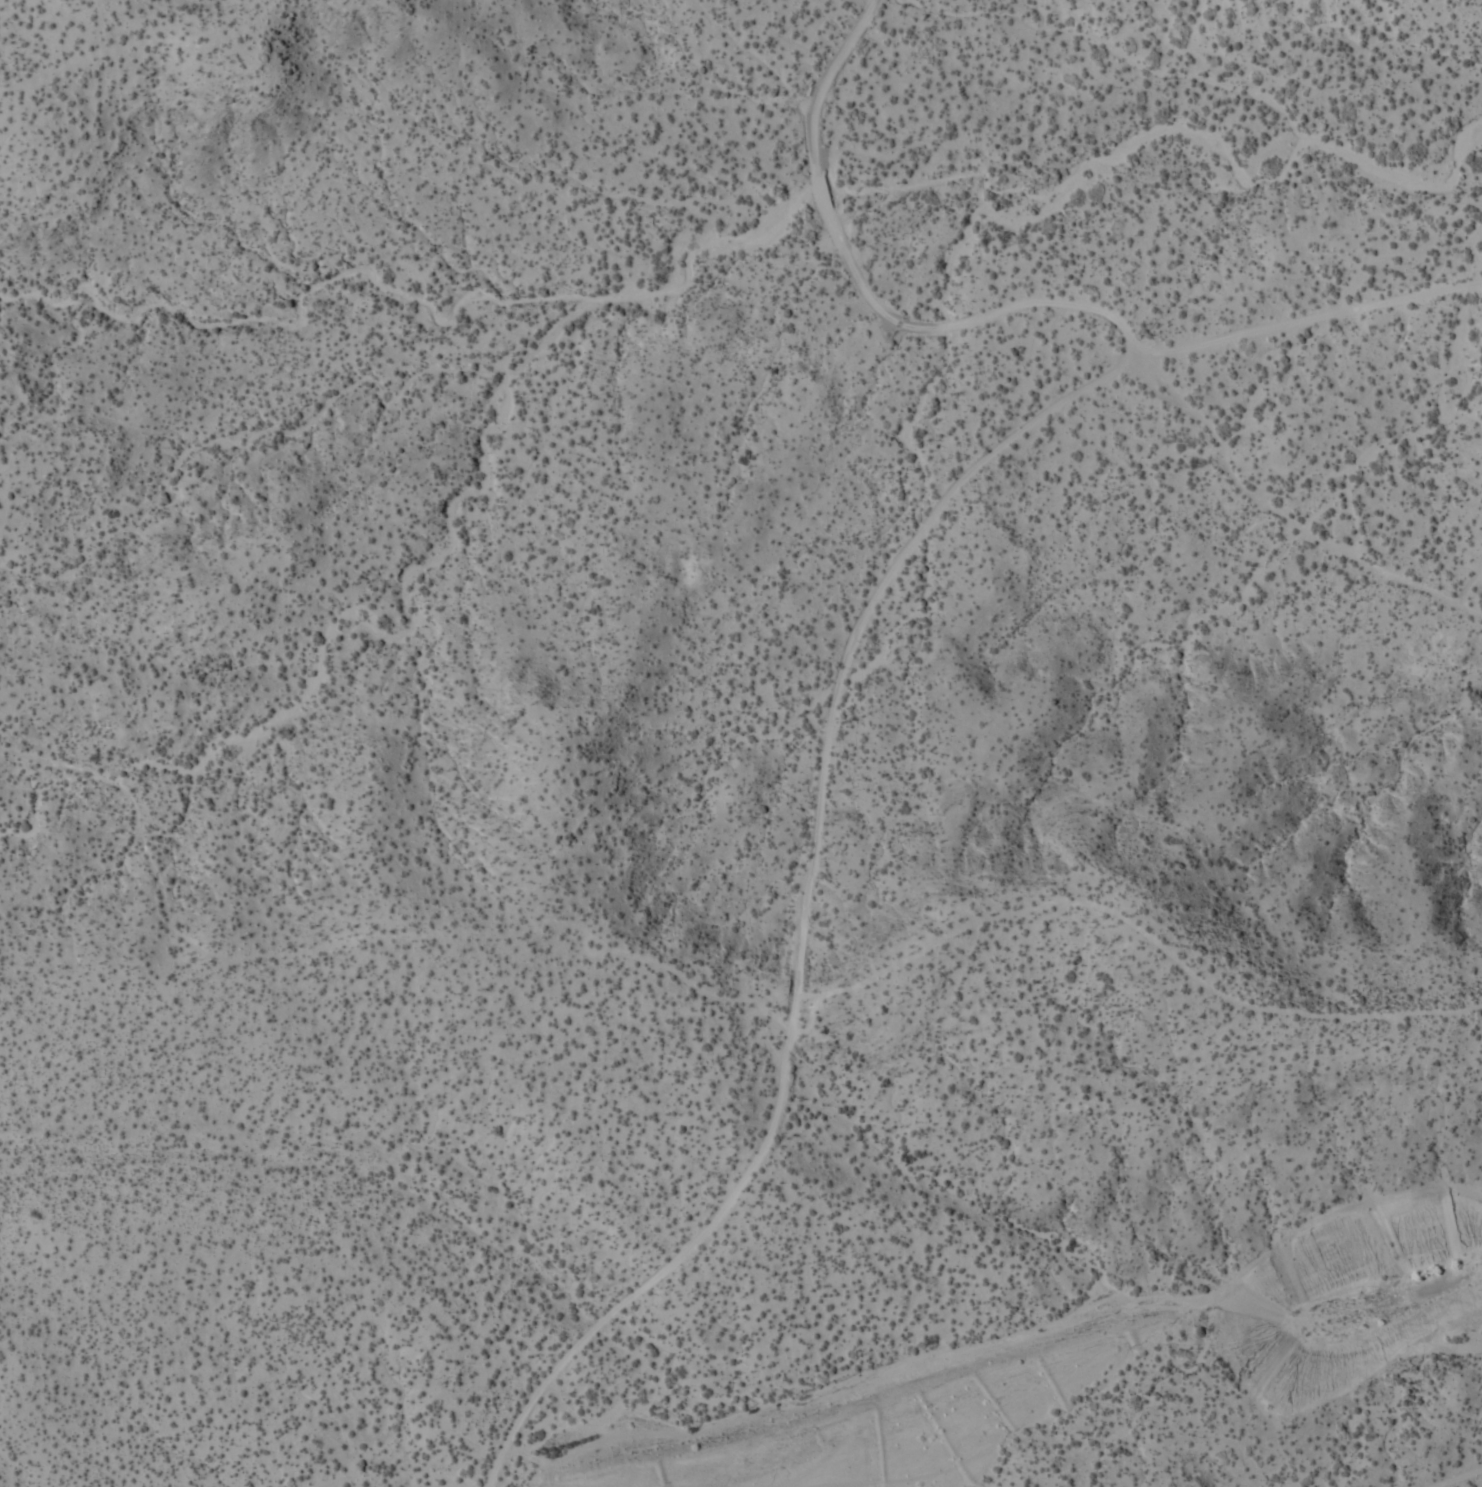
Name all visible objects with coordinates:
road: (142, 39)
road: (858, 291)
road: (1308, 319)
road: (799, 909)

